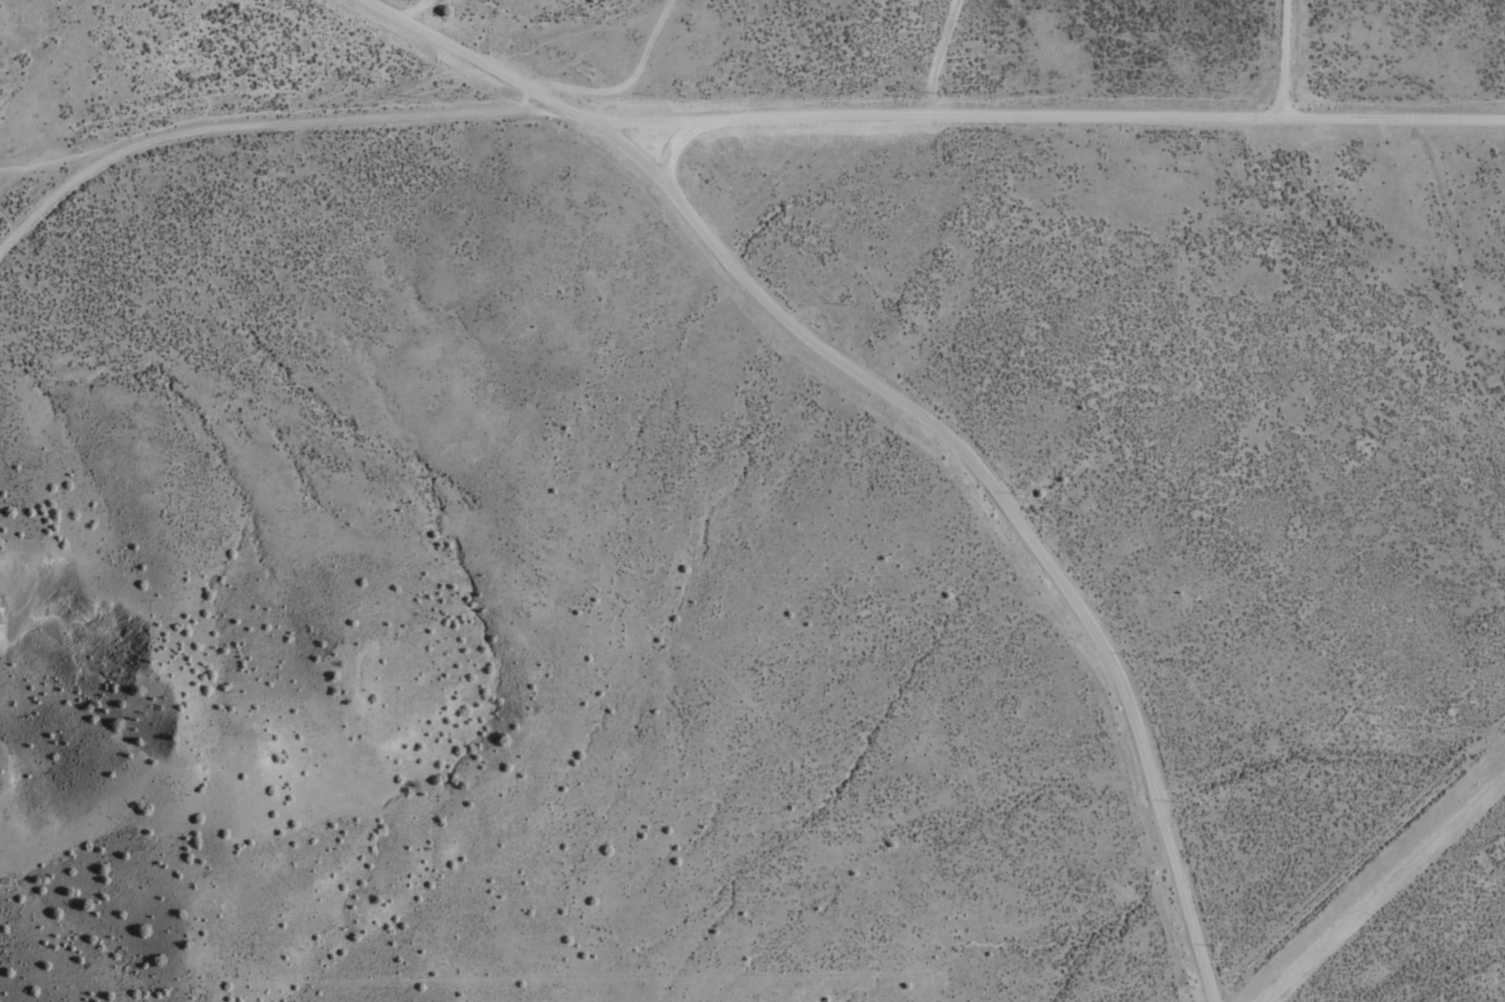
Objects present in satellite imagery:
road: (1040, 115)
road: (904, 408)
road: (1391, 892)

